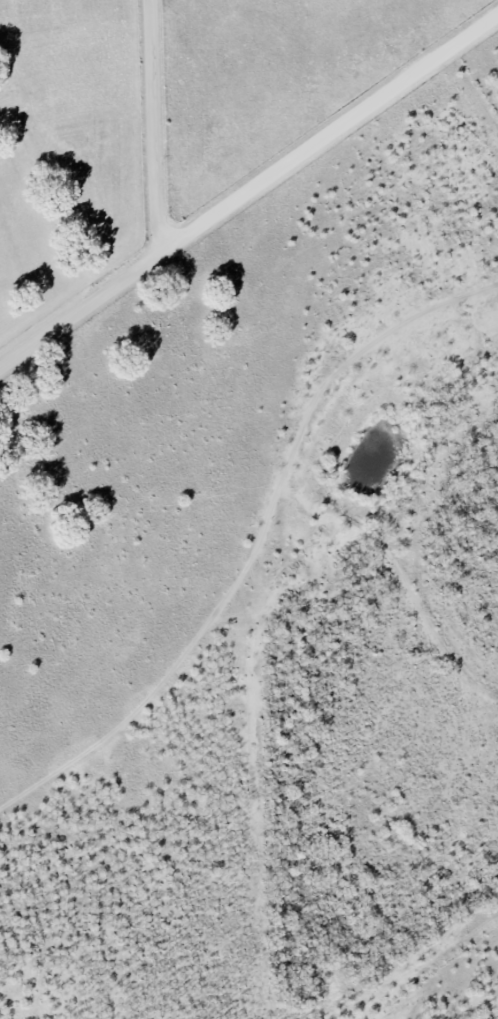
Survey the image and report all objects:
road: (154, 128)
road: (249, 190)

